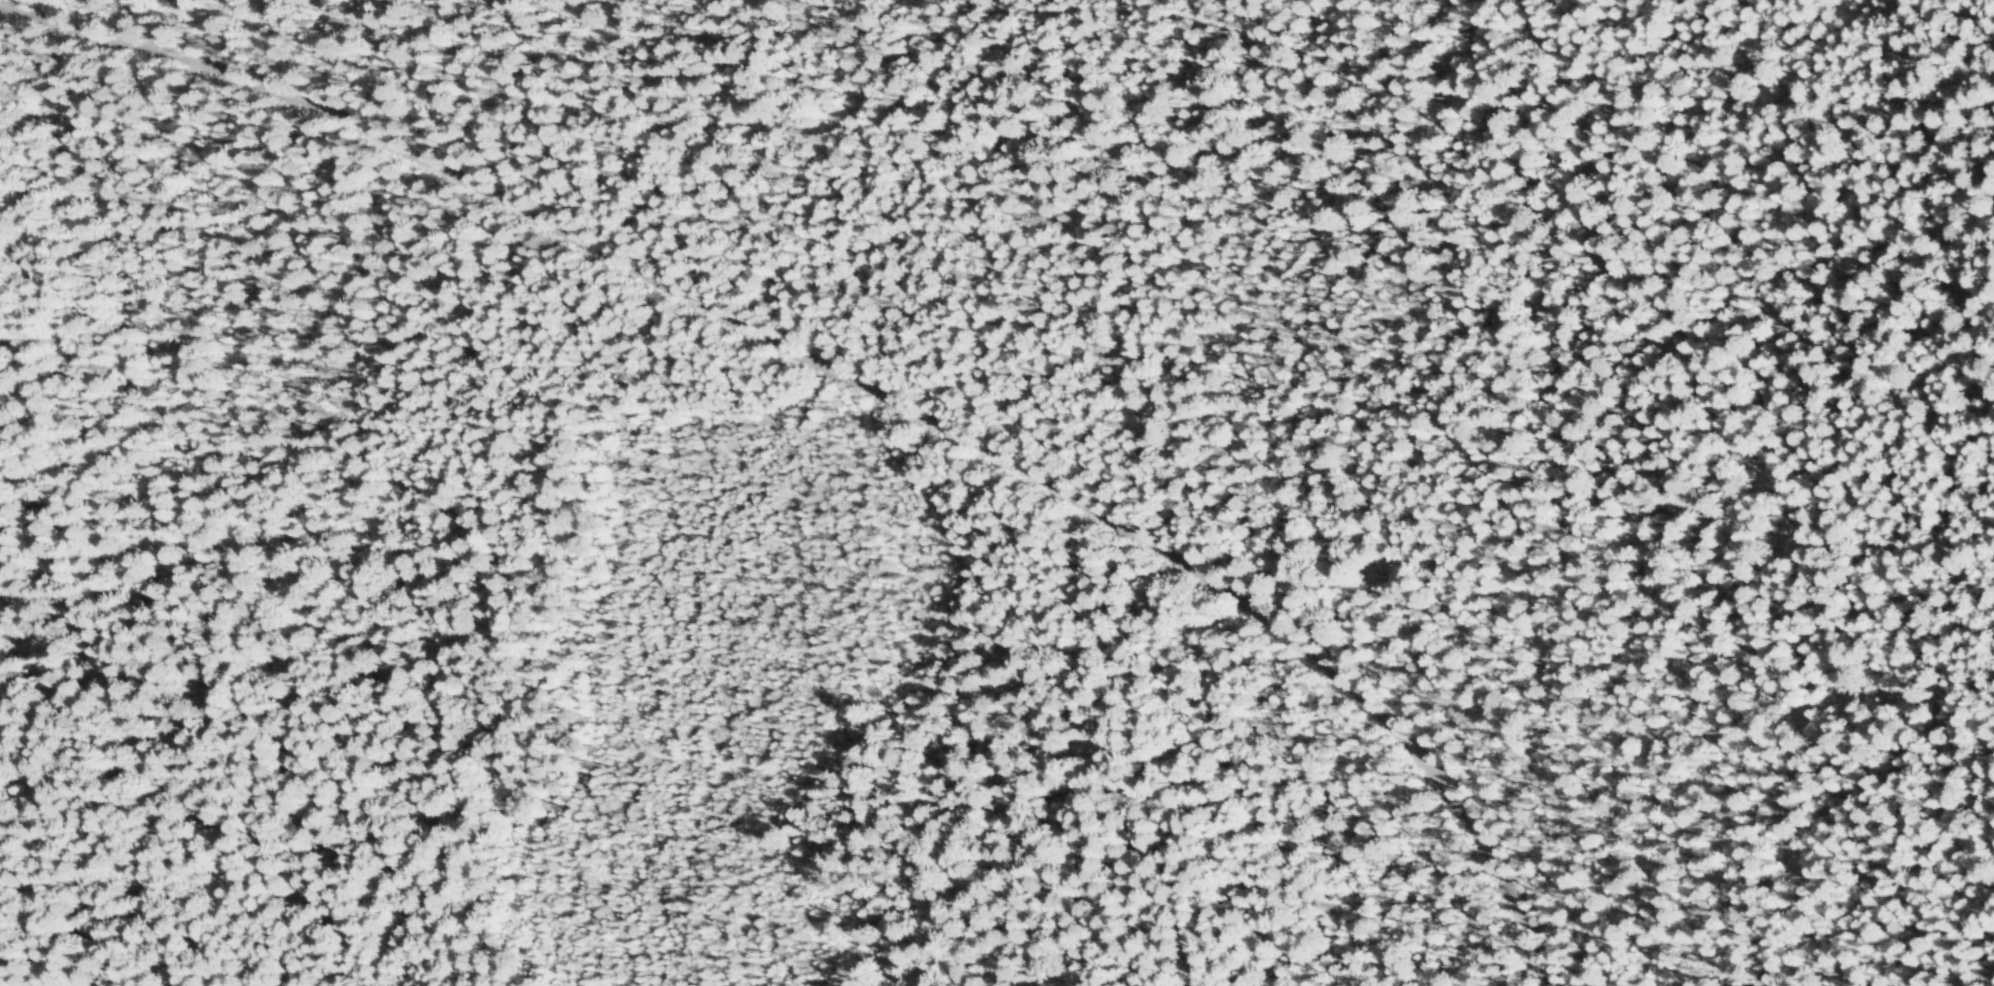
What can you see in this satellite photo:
road: (863, 379)

